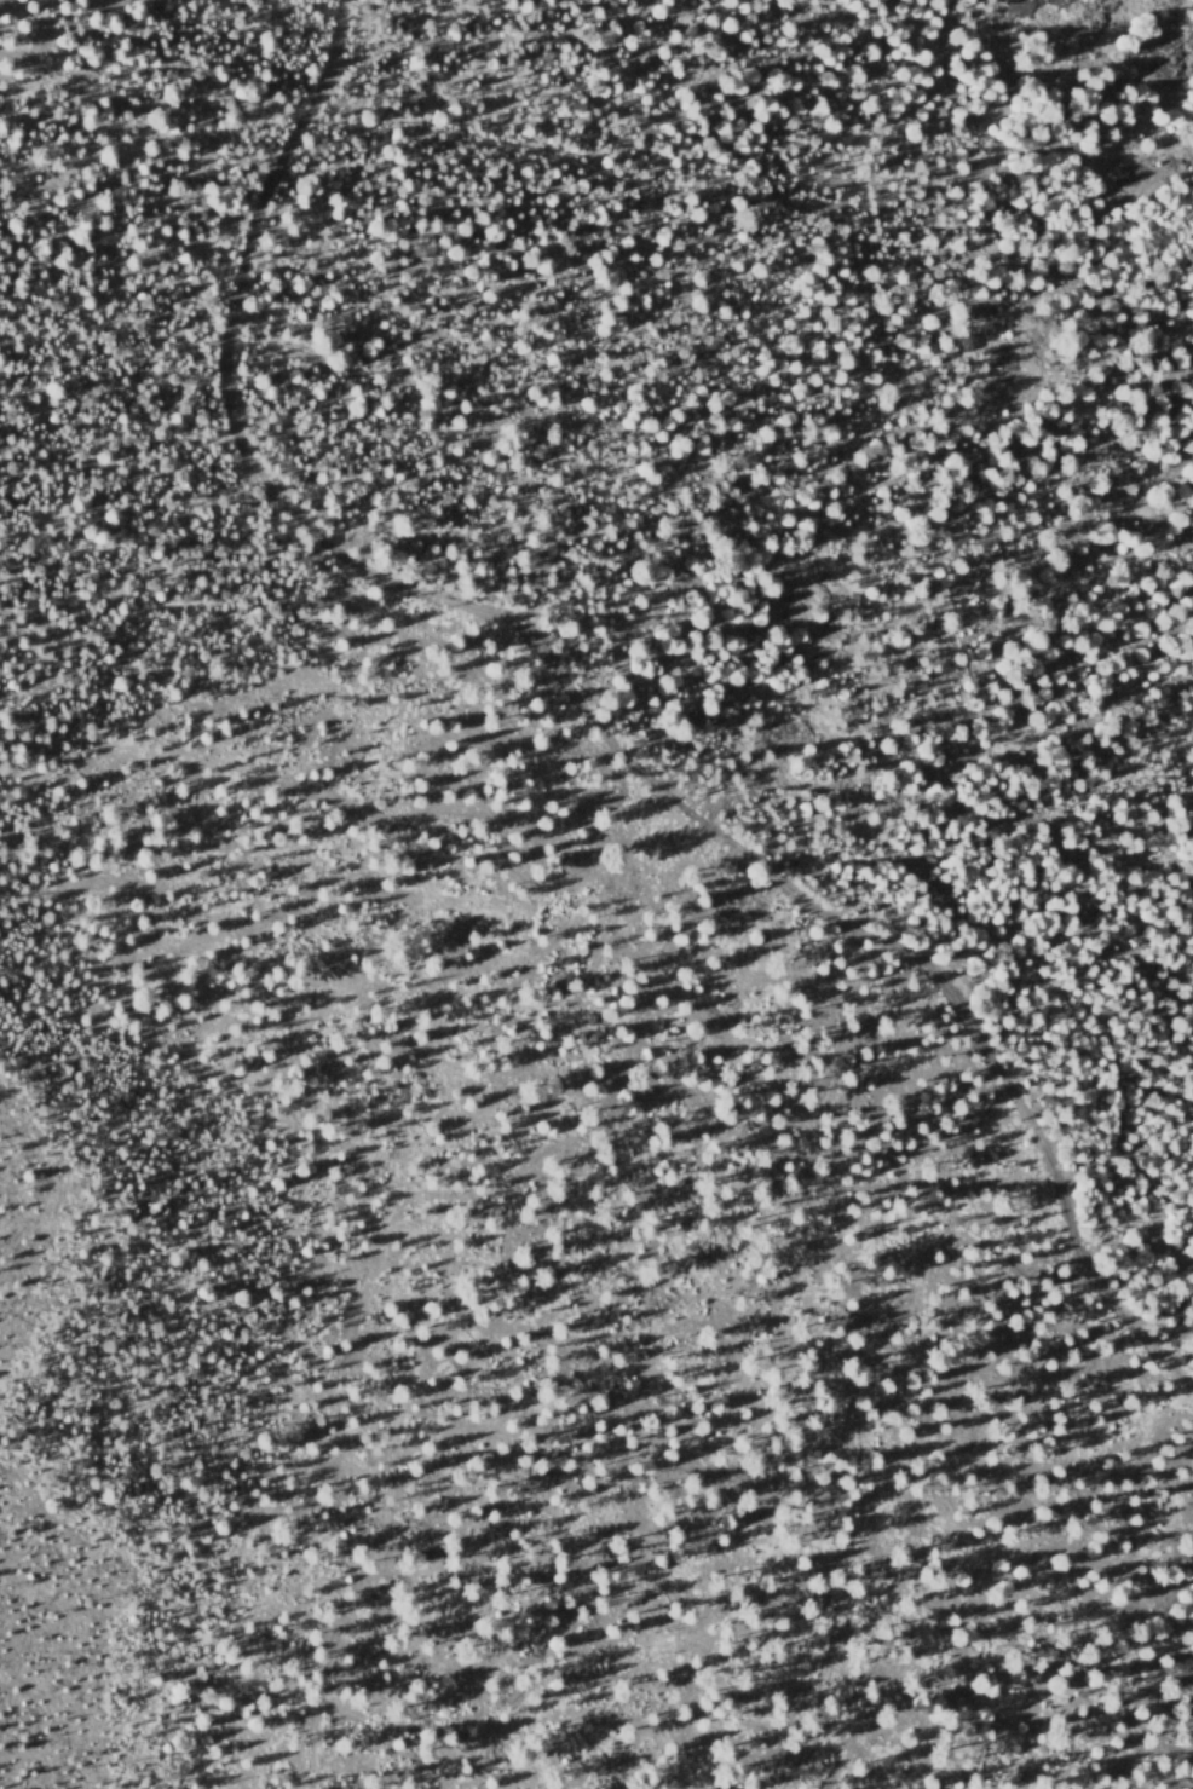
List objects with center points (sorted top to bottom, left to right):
road: (588, 719)

